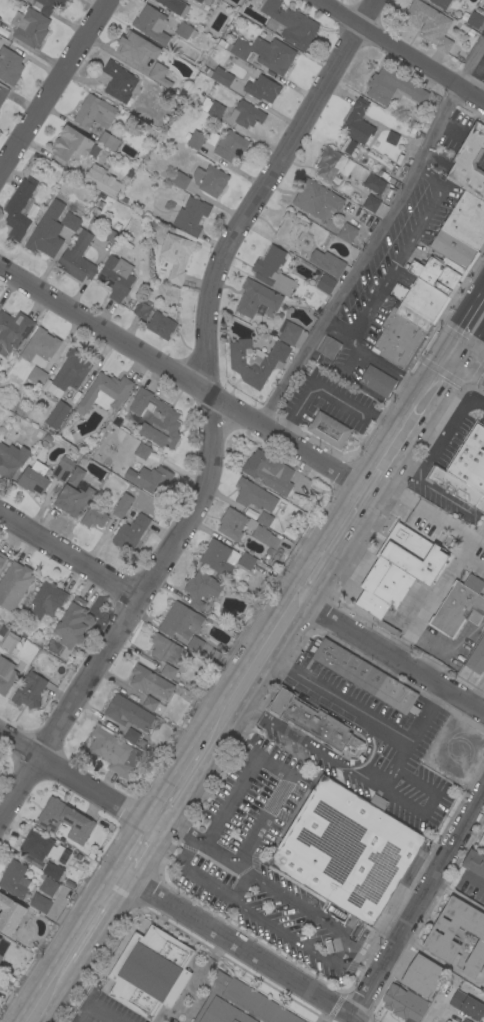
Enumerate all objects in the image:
building: (458, 0)
building: (206, 2)
building: (440, 3)
building: (49, 5)
building: (174, 6)
building: (480, 12)
building: (474, 20)
building: (289, 23)
building: (151, 24)
building: (430, 24)
building: (28, 26)
building: (185, 31)
road: (401, 51)
building: (264, 53)
building: (142, 55)
building: (9, 66)
building: (218, 75)
building: (118, 81)
building: (260, 86)
road: (55, 87)
building: (392, 87)
building: (3, 93)
building: (211, 108)
building: (94, 112)
building: (246, 114)
building: (358, 123)
building: (392, 138)
building: (194, 139)
building: (108, 140)
building: (73, 145)
building: (230, 146)
building: (350, 147)
building: (469, 163)
building: (330, 165)
building: (397, 173)
building: (382, 174)
building: (96, 177)
building: (202, 179)
building: (392, 181)
building: (374, 183)
building: (316, 199)
building: (370, 204)
building: (97, 207)
building: (19, 208)
building: (191, 216)
building: (70, 221)
building: (291, 229)
building: (47, 231)
building: (462, 231)
building: (347, 233)
road: (372, 234)
building: (175, 257)
building: (77, 258)
building: (326, 263)
building: (272, 271)
building: (438, 273)
road: (390, 275)
building: (116, 277)
building: (324, 284)
building: (397, 291)
building: (314, 298)
building: (257, 299)
building: (425, 300)
building: (142, 309)
building: (318, 309)
road: (462, 318)
building: (160, 325)
building: (13, 331)
building: (290, 334)
building: (401, 335)
building: (39, 347)
building: (328, 347)
traffic signals: (441, 352)
building: (255, 361)
road: (462, 364)
traffic signals: (465, 366)
building: (69, 373)
building: (36, 375)
building: (377, 381)
road: (407, 381)
road: (189, 382)
building: (104, 393)
road: (337, 396)
building: (16, 407)
building: (57, 415)
road: (211, 415)
road: (396, 416)
building: (156, 419)
building: (329, 430)
building: (142, 451)
building: (11, 459)
building: (470, 459)
building: (63, 469)
building: (268, 472)
building: (75, 476)
building: (34, 478)
building: (150, 480)
building: (455, 487)
building: (254, 496)
building: (74, 498)
building: (122, 505)
building: (145, 509)
road: (339, 509)
building: (250, 513)
building: (93, 518)
building: (264, 519)
building: (232, 524)
building: (131, 532)
building: (266, 538)
road: (466, 545)
road: (71, 556)
building: (219, 557)
building: (2, 558)
building: (249, 562)
road: (303, 563)
building: (399, 568)
building: (473, 583)
road: (322, 584)
building: (14, 585)
building: (201, 589)
building: (483, 597)
building: (45, 602)
building: (457, 610)
building: (180, 621)
building: (394, 621)
building: (73, 623)
building: (2, 630)
building: (10, 645)
building: (197, 645)
building: (27, 646)
building: (220, 648)
building: (164, 649)
building: (476, 657)
road: (396, 658)
road: (237, 670)
building: (167, 671)
building: (6, 675)
building: (364, 676)
building: (149, 682)
building: (29, 691)
road: (477, 691)
building: (153, 705)
building: (128, 713)
road: (425, 714)
building: (311, 720)
building: (131, 735)
building: (114, 752)
road: (395, 768)
road: (242, 782)
road: (81, 784)
road: (166, 784)
road: (270, 805)
building: (66, 820)
building: (483, 825)
road: (126, 845)
building: (39, 846)
building: (347, 854)
road: (149, 858)
building: (474, 862)
building: (51, 870)
road: (123, 877)
building: (14, 879)
building: (48, 887)
building: (40, 903)
road: (417, 903)
building: (9, 914)
road: (109, 926)
building: (442, 932)
building: (0, 937)
building: (2, 946)
road: (61, 946)
road: (246, 952)
building: (0, 956)
road: (325, 956)
building: (150, 972)
building: (480, 973)
building: (421, 975)
road: (65, 995)
building: (404, 1003)
building: (239, 1004)
building: (466, 1005)
road: (94, 1006)
building: (464, 1020)
building: (445, 1021)
building: (446, 1021)

